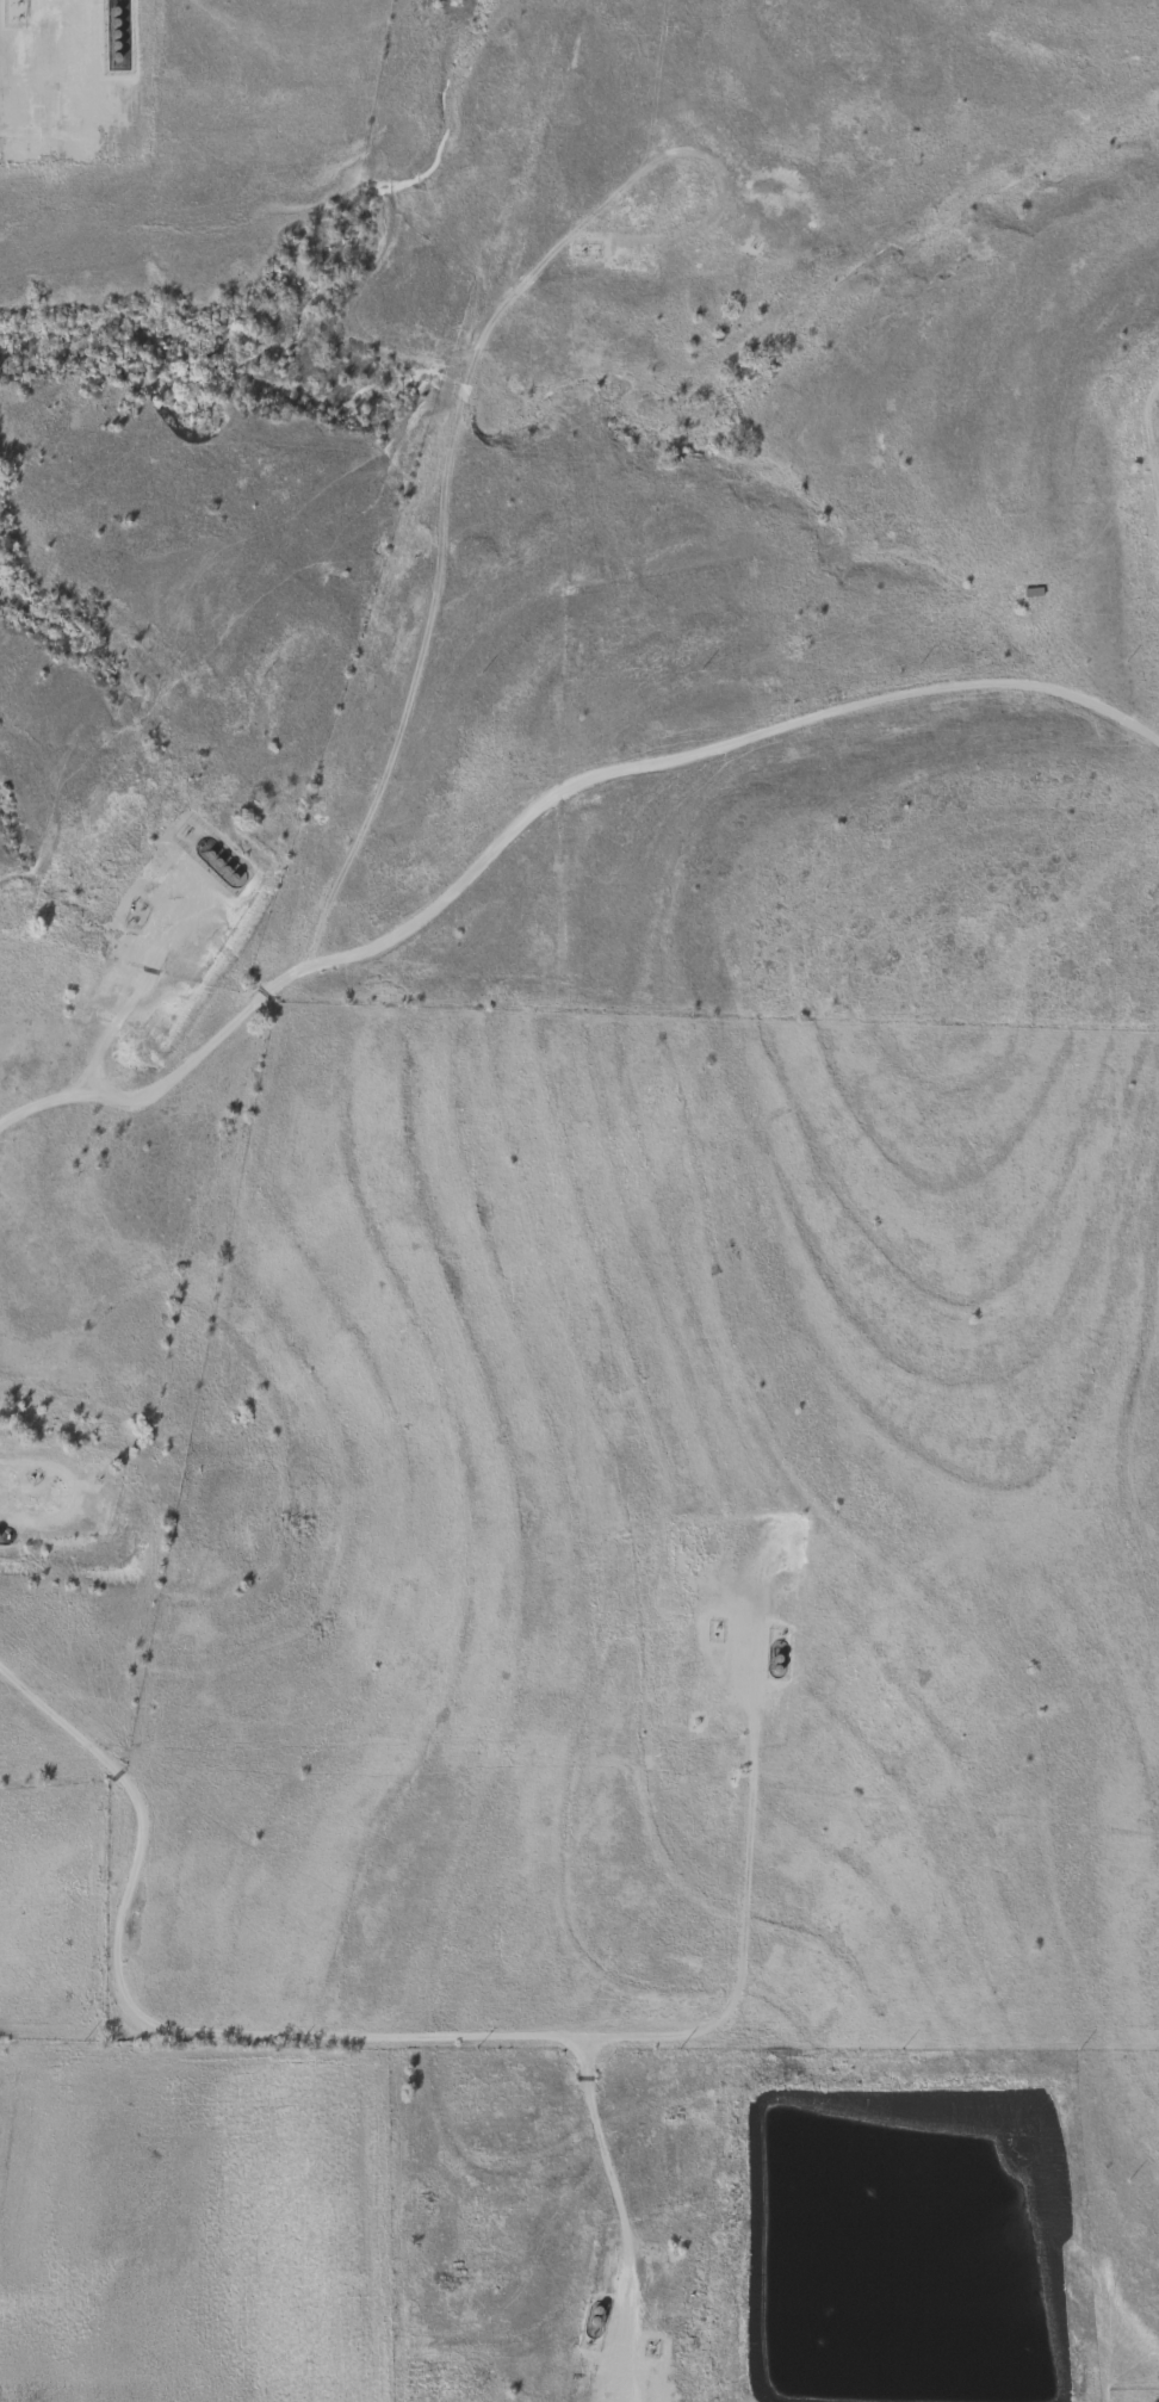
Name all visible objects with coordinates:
road: (1151, 475)
road: (539, 803)
road: (395, 2036)
road: (621, 2397)

